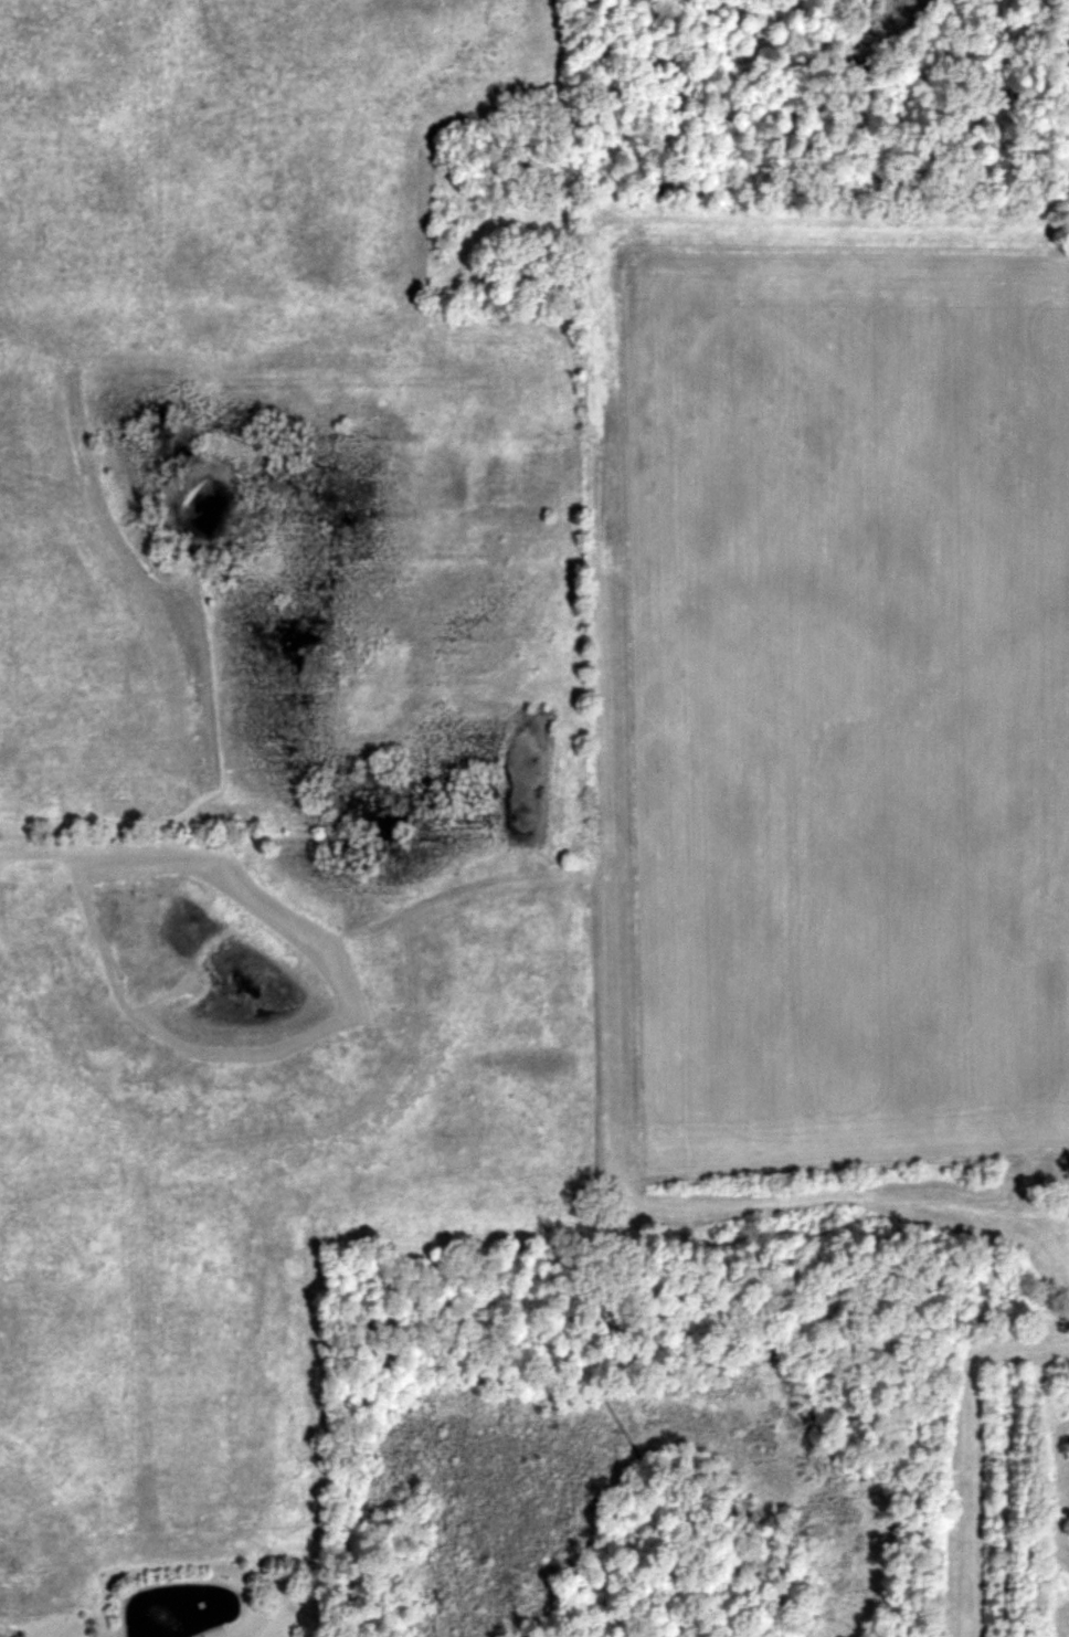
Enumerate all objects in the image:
building: (219, 1603)

